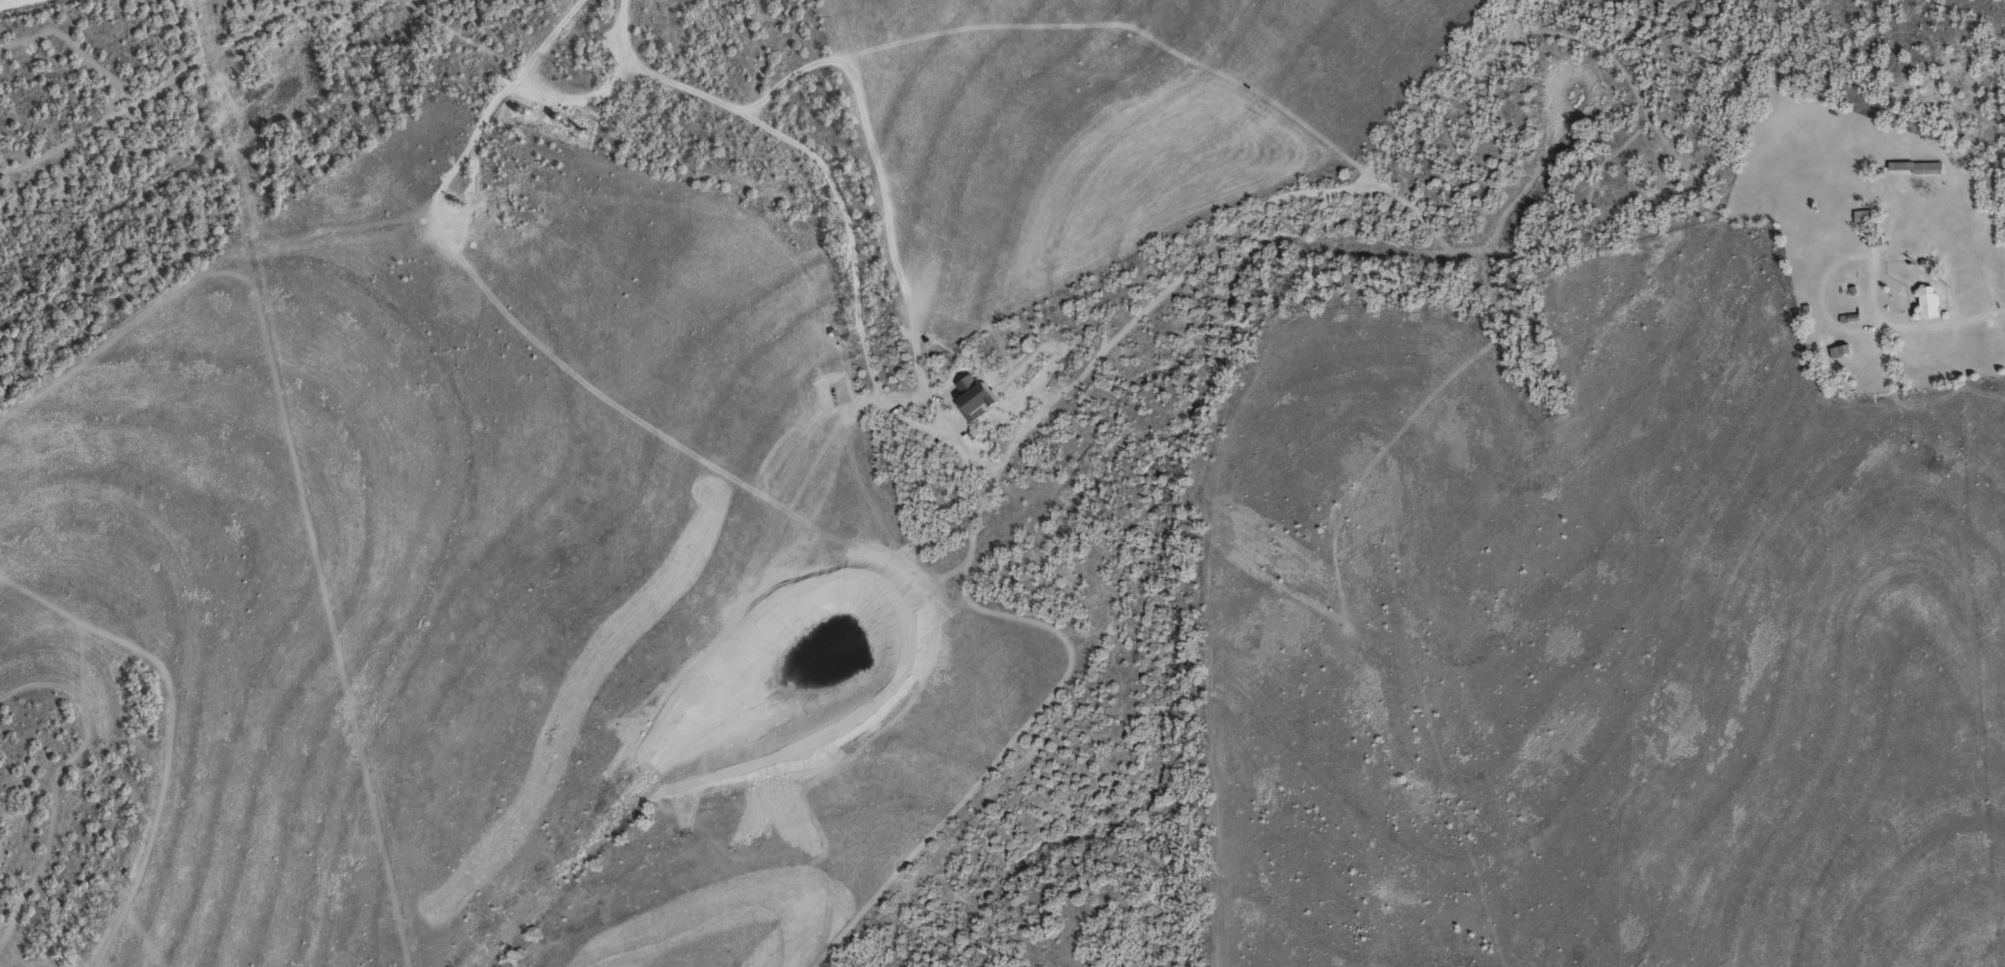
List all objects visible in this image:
building: (1915, 166)
building: (1862, 216)
building: (1875, 239)
building: (1928, 301)
road: (1970, 317)

